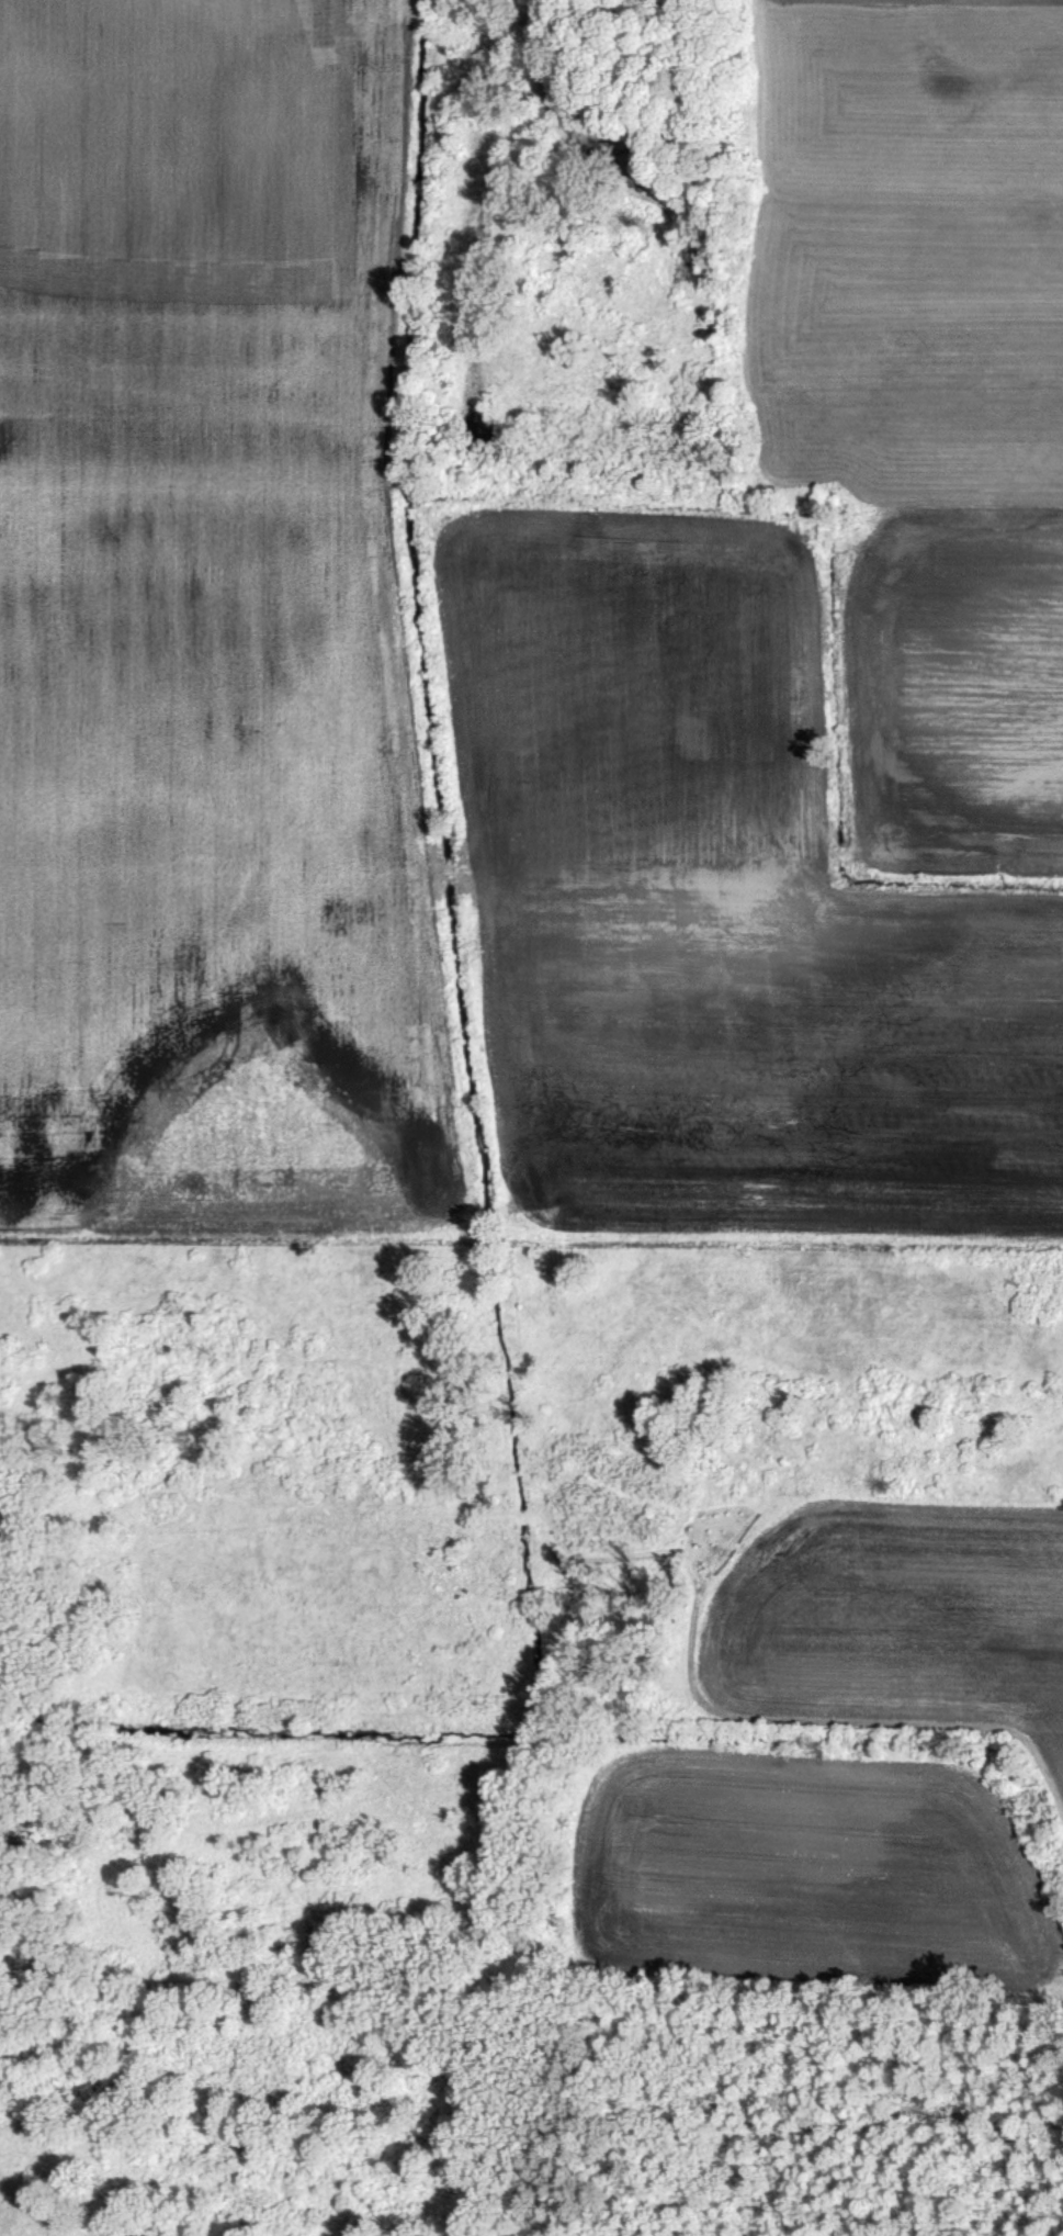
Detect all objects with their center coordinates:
road: (536, 75)

